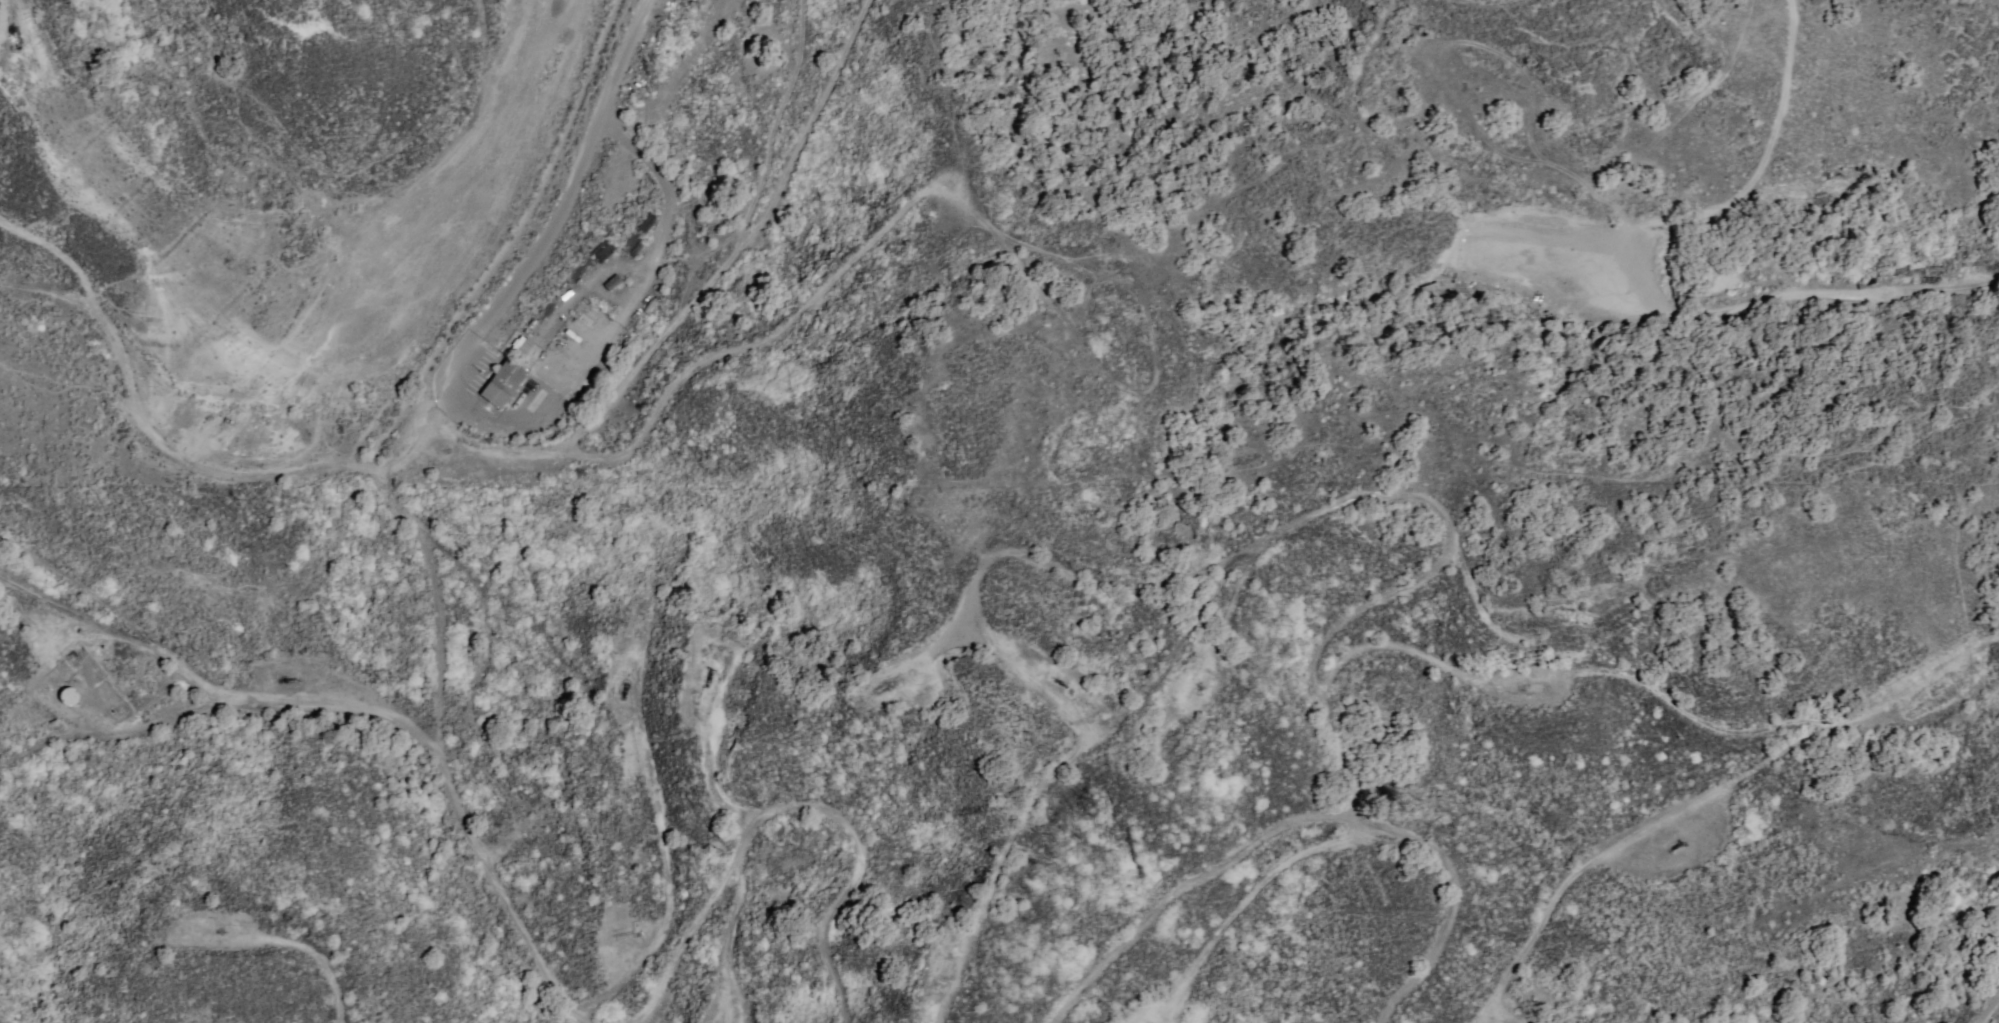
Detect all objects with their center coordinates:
road: (721, 82)
road: (475, 126)
road: (643, 153)
road: (853, 255)
building: (611, 282)
road: (688, 301)
building: (521, 345)
road: (273, 370)
building: (502, 382)
road: (386, 459)
road: (393, 493)
road: (619, 508)
road: (1439, 513)
road: (92, 618)
road: (50, 647)
road: (1029, 677)
road: (199, 679)
road: (1663, 691)
road: (154, 724)
road: (39, 740)
road: (1064, 760)
road: (655, 777)
road: (791, 804)
road: (1615, 836)
road: (1187, 884)
road: (337, 1006)
road: (1989, 1010)
road: (581, 1020)

